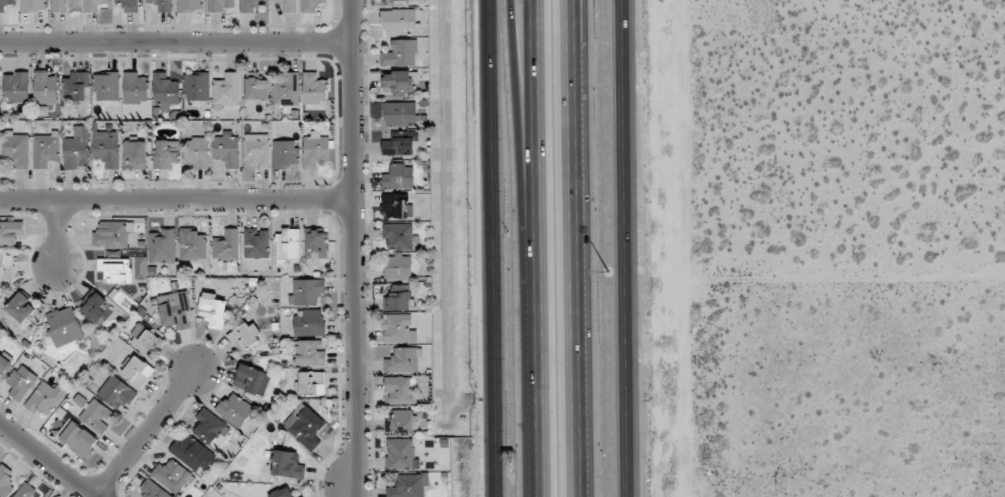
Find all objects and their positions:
building: (394, 0)
building: (6, 4)
building: (33, 5)
building: (63, 5)
building: (94, 5)
building: (129, 5)
building: (162, 5)
building: (190, 5)
building: (220, 5)
building: (250, 5)
building: (287, 5)
building: (311, 6)
road: (572, 9)
building: (400, 22)
road: (176, 42)
building: (400, 53)
building: (78, 82)
building: (399, 83)
building: (106, 85)
building: (196, 86)
building: (257, 86)
building: (16, 87)
building: (45, 87)
building: (135, 88)
building: (313, 89)
building: (227, 90)
building: (287, 90)
building: (165, 91)
building: (400, 114)
building: (399, 145)
building: (77, 148)
building: (17, 149)
building: (45, 149)
building: (226, 149)
building: (256, 149)
building: (315, 150)
building: (196, 153)
building: (134, 154)
building: (166, 154)
building: (284, 154)
road: (525, 160)
building: (398, 176)
road: (177, 199)
building: (396, 206)
building: (10, 233)
road: (58, 233)
building: (110, 235)
building: (398, 236)
building: (256, 243)
building: (192, 244)
building: (288, 244)
building: (226, 245)
building: (162, 246)
building: (316, 246)
road: (355, 248)
road: (494, 248)
road: (536, 248)
road: (577, 248)
road: (625, 248)
building: (7, 267)
building: (398, 267)
road: (815, 268)
building: (115, 269)
building: (306, 291)
building: (398, 298)
building: (20, 307)
building: (97, 309)
building: (174, 310)
building: (212, 310)
building: (309, 321)
building: (64, 326)
building: (398, 328)
building: (245, 336)
building: (143, 339)
building: (309, 353)
building: (402, 360)
building: (4, 364)
building: (138, 371)
building: (250, 379)
building: (21, 381)
building: (312, 383)
building: (401, 389)
building: (116, 392)
building: (45, 398)
building: (234, 410)
building: (96, 416)
building: (402, 421)
building: (209, 426)
building: (304, 426)
road: (144, 430)
building: (77, 437)
building: (192, 453)
building: (401, 454)
road: (48, 459)
building: (287, 464)
building: (172, 475)
building: (5, 481)
building: (408, 485)
building: (153, 489)
building: (25, 491)
building: (282, 493)

